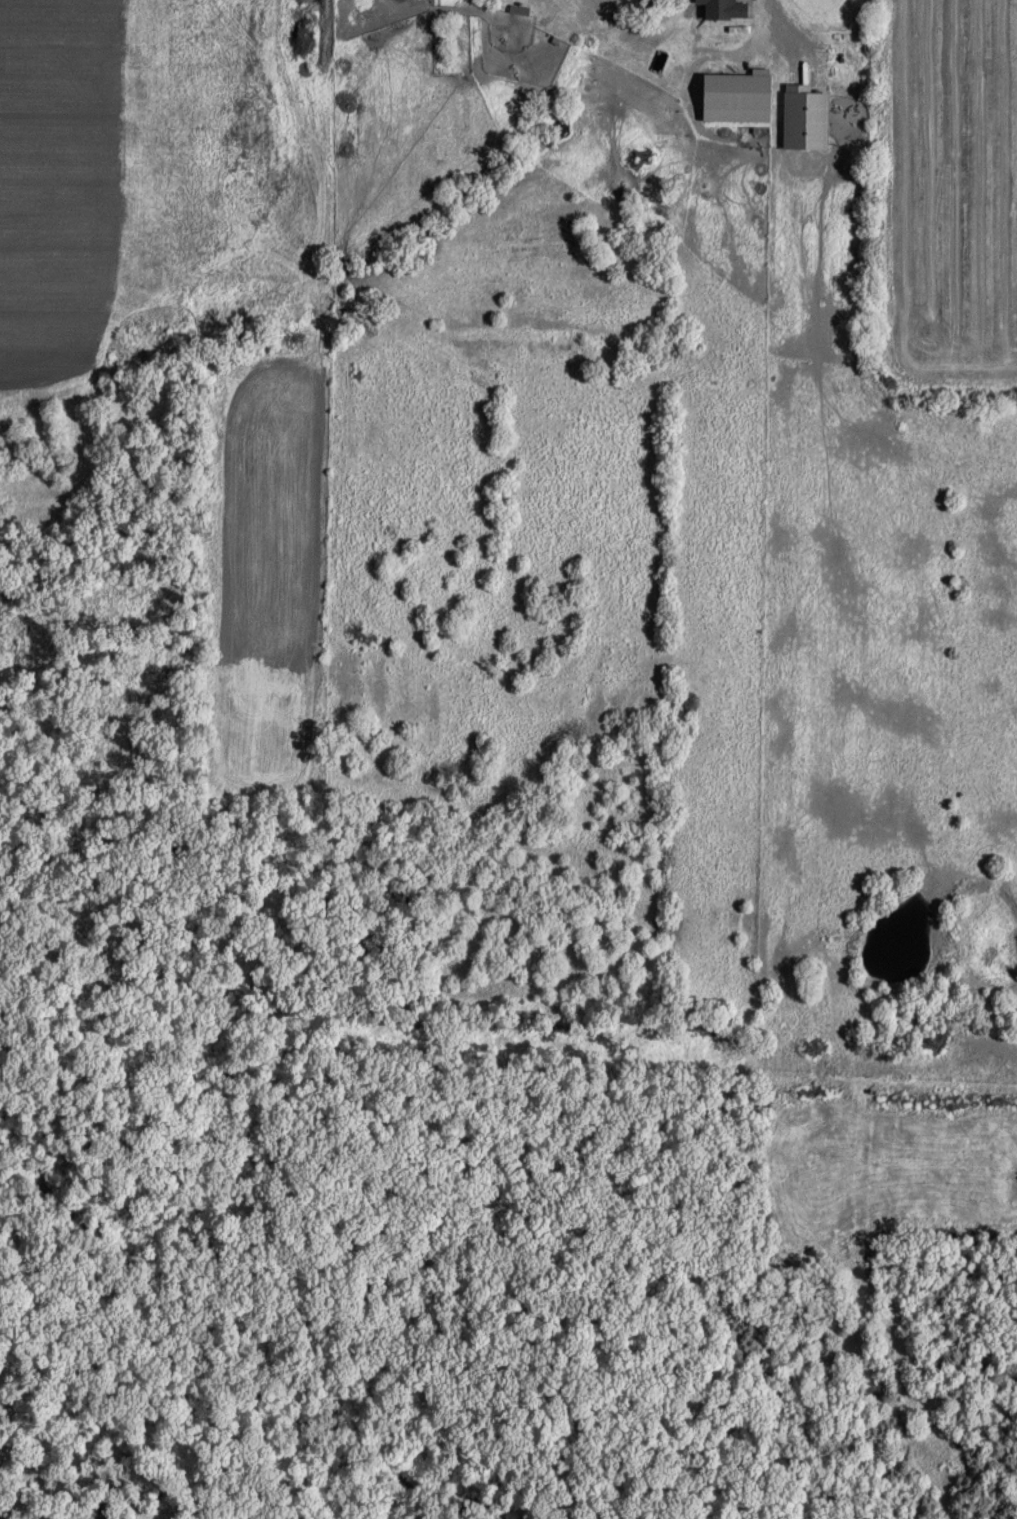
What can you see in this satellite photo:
building: (518, 9)
building: (727, 9)
building: (741, 98)

